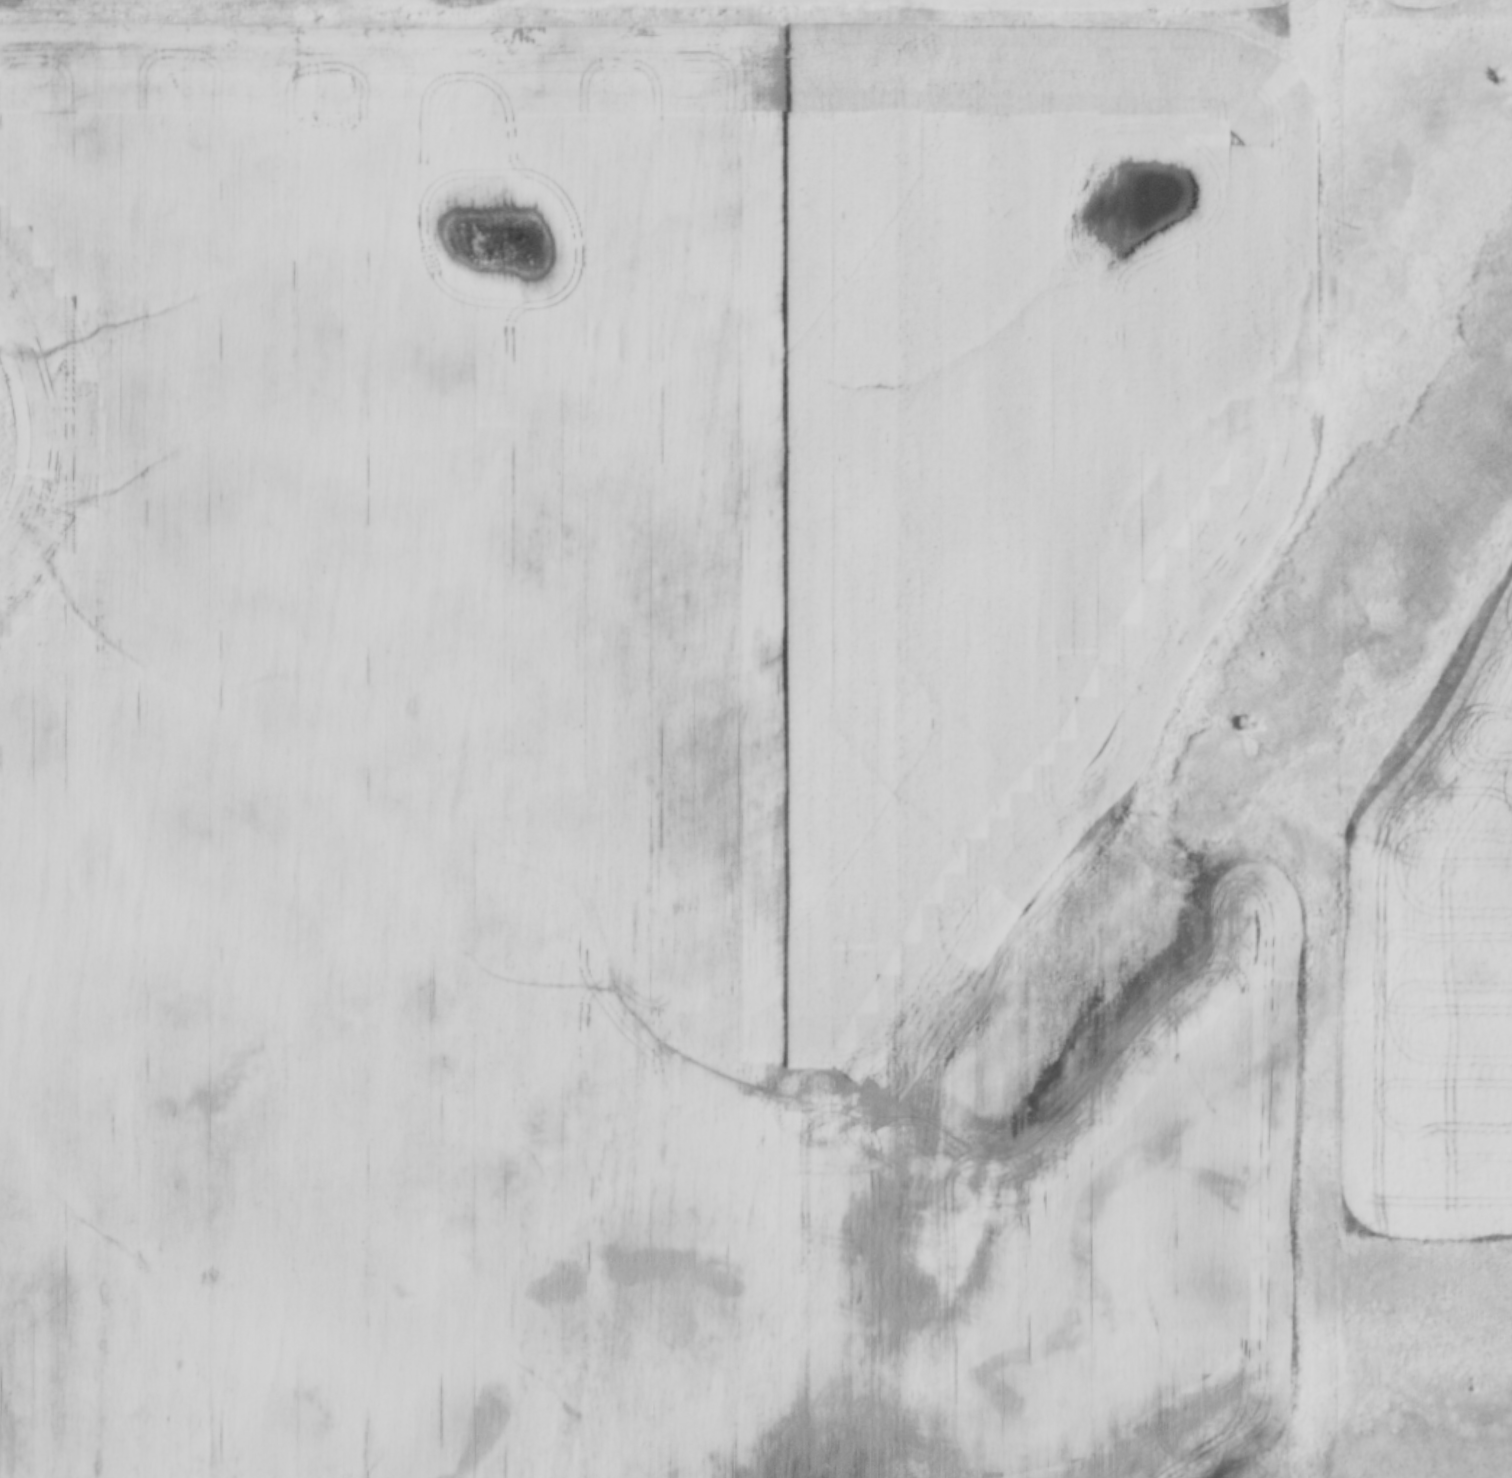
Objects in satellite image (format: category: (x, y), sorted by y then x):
crop: (1397, 5)
road: (1327, 739)
crop: (1427, 957)

